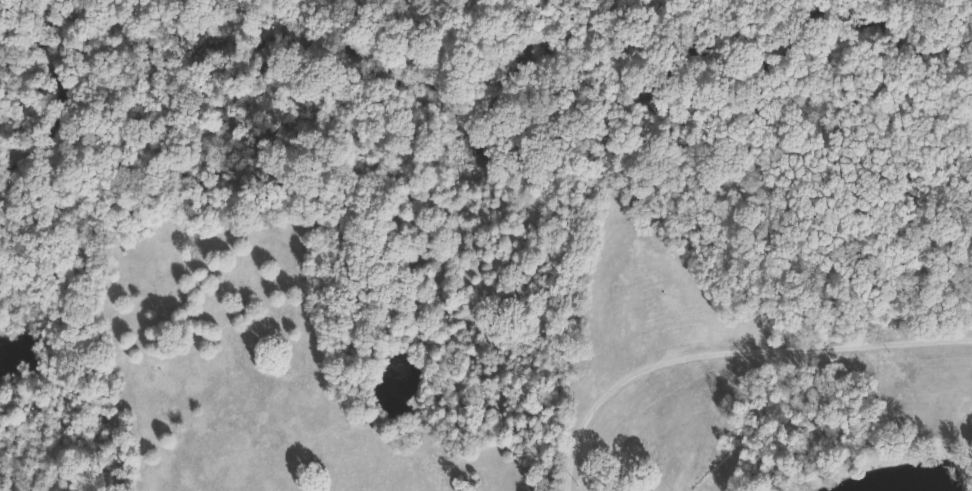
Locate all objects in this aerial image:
road: (734, 355)

